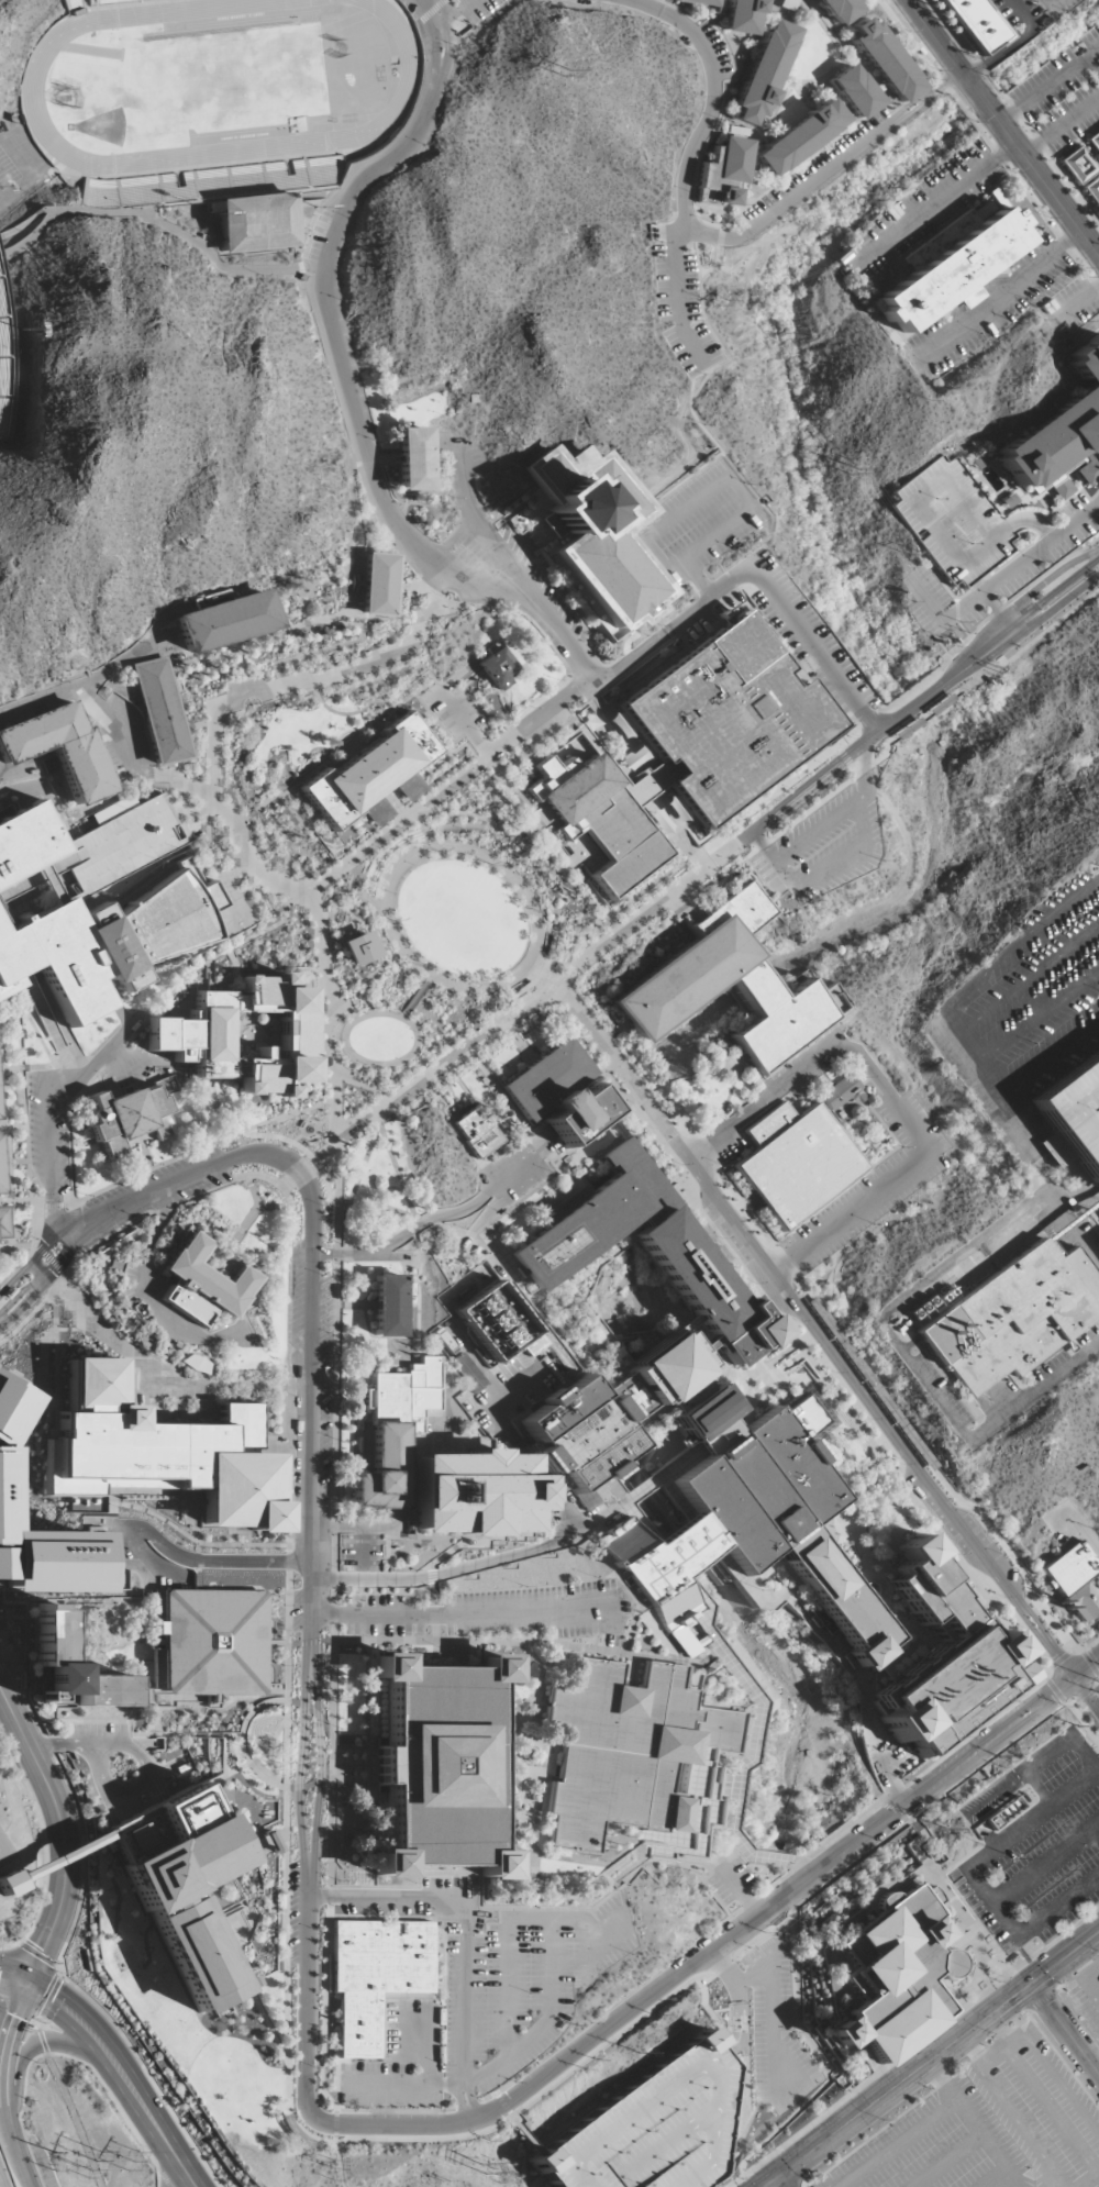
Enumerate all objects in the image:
building: (108, 2)
parking lot: (623, 2)
building: (699, 2)
road: (467, 3)
building: (70, 4)
road: (764, 4)
parking lot: (476, 9)
building: (839, 9)
road: (432, 11)
road: (680, 12)
road: (718, 12)
building: (742, 15)
park: (245, 20)
park: (344, 22)
building: (974, 22)
park: (246, 26)
road: (799, 38)
road: (935, 38)
road: (723, 43)
road: (1009, 43)
road: (845, 47)
park: (93, 51)
parking lot: (709, 51)
building: (885, 60)
railway: (935, 60)
park: (269, 62)
road: (1094, 66)
building: (764, 73)
power tower: (554, 76)
park: (359, 78)
track: (32, 87)
road: (1048, 87)
road: (812, 88)
park: (156, 89)
building: (855, 92)
road: (884, 95)
stadium: (215, 101)
road: (781, 104)
road: (773, 114)
park: (102, 126)
park: (265, 127)
road: (1061, 127)
building: (801, 137)
railway: (996, 137)
building: (1094, 142)
road: (699, 155)
road: (813, 155)
building: (1077, 166)
road: (1031, 167)
parking lot: (819, 169)
building: (724, 171)
road: (747, 174)
building: (209, 184)
building: (1092, 191)
road: (942, 201)
road: (155, 221)
building: (254, 223)
road: (724, 223)
road: (711, 237)
road: (29, 238)
power tower: (832, 265)
road: (307, 271)
building: (953, 271)
road: (322, 274)
road: (678, 293)
road: (1004, 295)
road: (1081, 300)
power tower: (723, 301)
parking lot: (682, 310)
parking lot: (337, 319)
building: (3, 369)
stadium: (3, 369)
road: (700, 385)
road: (692, 411)
building: (1062, 437)
building: (413, 458)
power tower: (851, 471)
road: (730, 478)
road: (357, 518)
road: (470, 521)
parking lot: (952, 522)
parking lot: (693, 528)
building: (592, 532)
road: (452, 542)
parking lot: (495, 554)
road: (755, 573)
road: (328, 579)
building: (377, 584)
road: (355, 593)
road: (532, 597)
building: (1036, 597)
road: (1021, 600)
road: (655, 601)
road: (511, 609)
parking lot: (704, 611)
road: (1029, 611)
road: (336, 614)
building: (224, 620)
road: (1032, 623)
road: (588, 629)
road: (291, 632)
parking lot: (806, 635)
road: (259, 636)
road: (346, 642)
road: (295, 644)
road: (401, 650)
road: (297, 654)
road: (298, 657)
road: (188, 660)
road: (118, 665)
road: (173, 666)
road: (169, 667)
building: (501, 669)
road: (582, 670)
road: (301, 671)
road: (954, 674)
road: (431, 676)
road: (310, 691)
road: (922, 697)
road: (542, 698)
road: (37, 701)
parking lot: (453, 709)
road: (579, 709)
building: (159, 711)
road: (227, 714)
building: (725, 719)
road: (119, 721)
road: (198, 725)
road: (430, 726)
road: (375, 739)
road: (506, 740)
road: (451, 741)
road: (466, 744)
road: (187, 745)
building: (60, 750)
road: (506, 750)
road: (357, 754)
road: (523, 756)
road: (189, 765)
road: (609, 765)
road: (489, 768)
road: (212, 769)
building: (369, 771)
road: (189, 773)
road: (647, 776)
road: (819, 776)
road: (407, 786)
building: (408, 787)
road: (45, 789)
road: (775, 790)
road: (389, 797)
road: (517, 804)
road: (288, 806)
building: (375, 812)
road: (252, 813)
road: (418, 813)
road: (309, 818)
road: (486, 818)
road: (244, 819)
building: (598, 819)
road: (420, 820)
road: (644, 822)
road: (722, 825)
road: (440, 844)
road: (103, 845)
road: (429, 846)
parking lot: (822, 846)
road: (286, 848)
road: (488, 859)
road: (286, 869)
road: (353, 881)
road: (319, 882)
road: (47, 884)
building: (93, 907)
road: (381, 907)
road: (321, 908)
road: (646, 912)
road: (324, 914)
road: (556, 931)
road: (336, 937)
park: (445, 939)
road: (374, 944)
building: (358, 948)
road: (224, 952)
road: (536, 976)
building: (682, 978)
road: (430, 979)
parking lot: (1040, 983)
road: (541, 991)
road: (415, 998)
road: (342, 1006)
road: (379, 1011)
road: (403, 1015)
road: (47, 1020)
building: (46, 1022)
road: (34, 1028)
building: (188, 1035)
road: (324, 1041)
road: (20, 1050)
road: (406, 1057)
road: (458, 1063)
road: (120, 1068)
road: (728, 1068)
road: (353, 1083)
road: (64, 1086)
road: (662, 1086)
road: (191, 1089)
road: (341, 1091)
building: (839, 1091)
building: (557, 1093)
road: (375, 1095)
road: (2, 1096)
road: (77, 1097)
road: (891, 1097)
road: (378, 1103)
road: (46, 1109)
road: (24, 1111)
building: (1076, 1113)
parking garage: (1076, 1113)
building: (131, 1115)
road: (376, 1119)
road: (353, 1125)
road: (12, 1126)
building: (475, 1132)
road: (5, 1145)
road: (197, 1150)
road: (304, 1151)
building: (795, 1162)
road: (362, 1166)
road: (396, 1172)
parking lot: (515, 1172)
road: (11, 1175)
road: (180, 1180)
building: (0, 1189)
road: (15, 1200)
road: (31, 1202)
road: (68, 1204)
road: (52, 1206)
road: (257, 1206)
road: (378, 1206)
road: (74, 1207)
road: (270, 1208)
road: (157, 1212)
road: (444, 1214)
road: (426, 1221)
building: (1, 1225)
road: (32, 1225)
road: (52, 1225)
road: (707, 1225)
road: (413, 1229)
road: (143, 1230)
road: (76, 1231)
road: (138, 1234)
road: (414, 1237)
road: (135, 1239)
road: (233, 1240)
road: (34, 1243)
road: (232, 1245)
building: (646, 1251)
road: (53, 1254)
road: (597, 1254)
road: (381, 1255)
road: (289, 1258)
road: (78, 1259)
road: (31, 1261)
road: (75, 1263)
road: (56, 1265)
road: (18, 1266)
road: (37, 1269)
road: (226, 1285)
building: (201, 1286)
road: (526, 1288)
road: (66, 1289)
building: (9, 1294)
road: (40, 1298)
road: (14, 1299)
road: (147, 1300)
building: (390, 1305)
road: (248, 1307)
road: (20, 1308)
road: (119, 1312)
road: (151, 1317)
building: (1012, 1318)
road: (596, 1322)
building: (497, 1324)
road: (137, 1325)
road: (247, 1330)
road: (174, 1337)
road: (144, 1363)
road: (477, 1363)
road: (309, 1364)
road: (395, 1367)
building: (668, 1367)
building: (468, 1373)
road: (312, 1380)
road: (278, 1403)
building: (10, 1406)
road: (30, 1408)
road: (659, 1409)
road: (874, 1410)
building: (701, 1413)
building: (392, 1433)
building: (577, 1440)
road: (842, 1452)
building: (159, 1454)
road: (289, 1472)
road: (868, 1484)
road: (644, 1489)
building: (471, 1495)
road: (687, 1511)
road: (153, 1513)
road: (918, 1513)
road: (604, 1517)
building: (755, 1530)
road: (651, 1537)
road: (895, 1541)
road: (552, 1544)
building: (47, 1558)
road: (199, 1559)
road: (693, 1559)
building: (1075, 1580)
road: (433, 1586)
parking lot: (490, 1613)
road: (309, 1614)
road: (463, 1614)
road: (913, 1630)
road: (826, 1640)
road: (481, 1642)
building: (213, 1643)
road: (333, 1646)
road: (707, 1657)
building: (945, 1661)
building: (74, 1670)
road: (1088, 1670)
road: (1088, 1694)
road: (257, 1710)
road: (315, 1713)
road: (87, 1722)
road: (756, 1727)
road: (202, 1736)
parking lot: (96, 1738)
road: (113, 1746)
building: (626, 1752)
road: (520, 1763)
building: (441, 1765)
road: (298, 1770)
road: (319, 1770)
road: (222, 1778)
road: (312, 1781)
road: (109, 1795)
road: (877, 1808)
road: (898, 1812)
road: (133, 1821)
road: (913, 1822)
power tower: (943, 1823)
road: (63, 1834)
road: (918, 1841)
parking lot: (1032, 1843)
road: (880, 1844)
parking lot: (5, 1851)
road: (3, 1852)
road: (62, 1856)
road: (47, 1861)
road: (930, 1869)
road: (286, 1872)
building: (7, 1884)
building: (182, 1887)
road: (711, 1890)
road: (742, 1894)
road: (387, 1899)
road: (68, 1936)
road: (1051, 1943)
road: (9, 1946)
road: (709, 1954)
road: (508, 1964)
road: (725, 1968)
road: (13, 1974)
building: (375, 1977)
building: (889, 1977)
road: (1086, 1981)
road: (13, 1984)
traffic signals: (27, 1984)
traffic signals: (1033, 1984)
road: (1063, 1986)
road: (467, 1990)
road: (739, 1992)
parking lot: (1087, 1994)
road: (306, 1995)
road: (1013, 1997)
road: (770, 2005)
road: (53, 2006)
road: (1080, 2013)
road: (735, 2022)
road: (744, 2022)
road: (545, 2024)
road: (1065, 2028)
road: (7, 2042)
road: (41, 2042)
road: (42, 2042)
road: (278, 2047)
road: (815, 2049)
road: (732, 2050)
power tower: (637, 2051)
road: (935, 2057)
road: (990, 2063)
road: (122, 2075)
road: (560, 2078)
road: (872, 2078)
road: (942, 2081)
road: (1062, 2085)
road: (419, 2087)
road: (111, 2099)
road: (503, 2105)
parking lot: (1040, 2109)
road: (418, 2111)
road: (942, 2111)
road: (1052, 2114)
road: (19, 2117)
road: (70, 2121)
road: (1018, 2125)
road: (520, 2128)
building: (654, 2128)
parking garage: (654, 2128)
road: (13, 2145)
road: (534, 2146)
parking lot: (937, 2147)
power tower: (132, 2161)
road: (948, 2161)
power tower: (97, 2163)
power tower: (484, 2164)
power tower: (332, 2165)
road: (1088, 2178)
road: (165, 2179)
traffic signals: (771, 2179)
power tower: (443, 2180)
road: (541, 2182)
road: (734, 2182)
road: (745, 2182)
power tower: (334, 2183)
road: (766, 2183)
road: (774, 2183)
road: (187, 2184)
road: (0, 2185)

